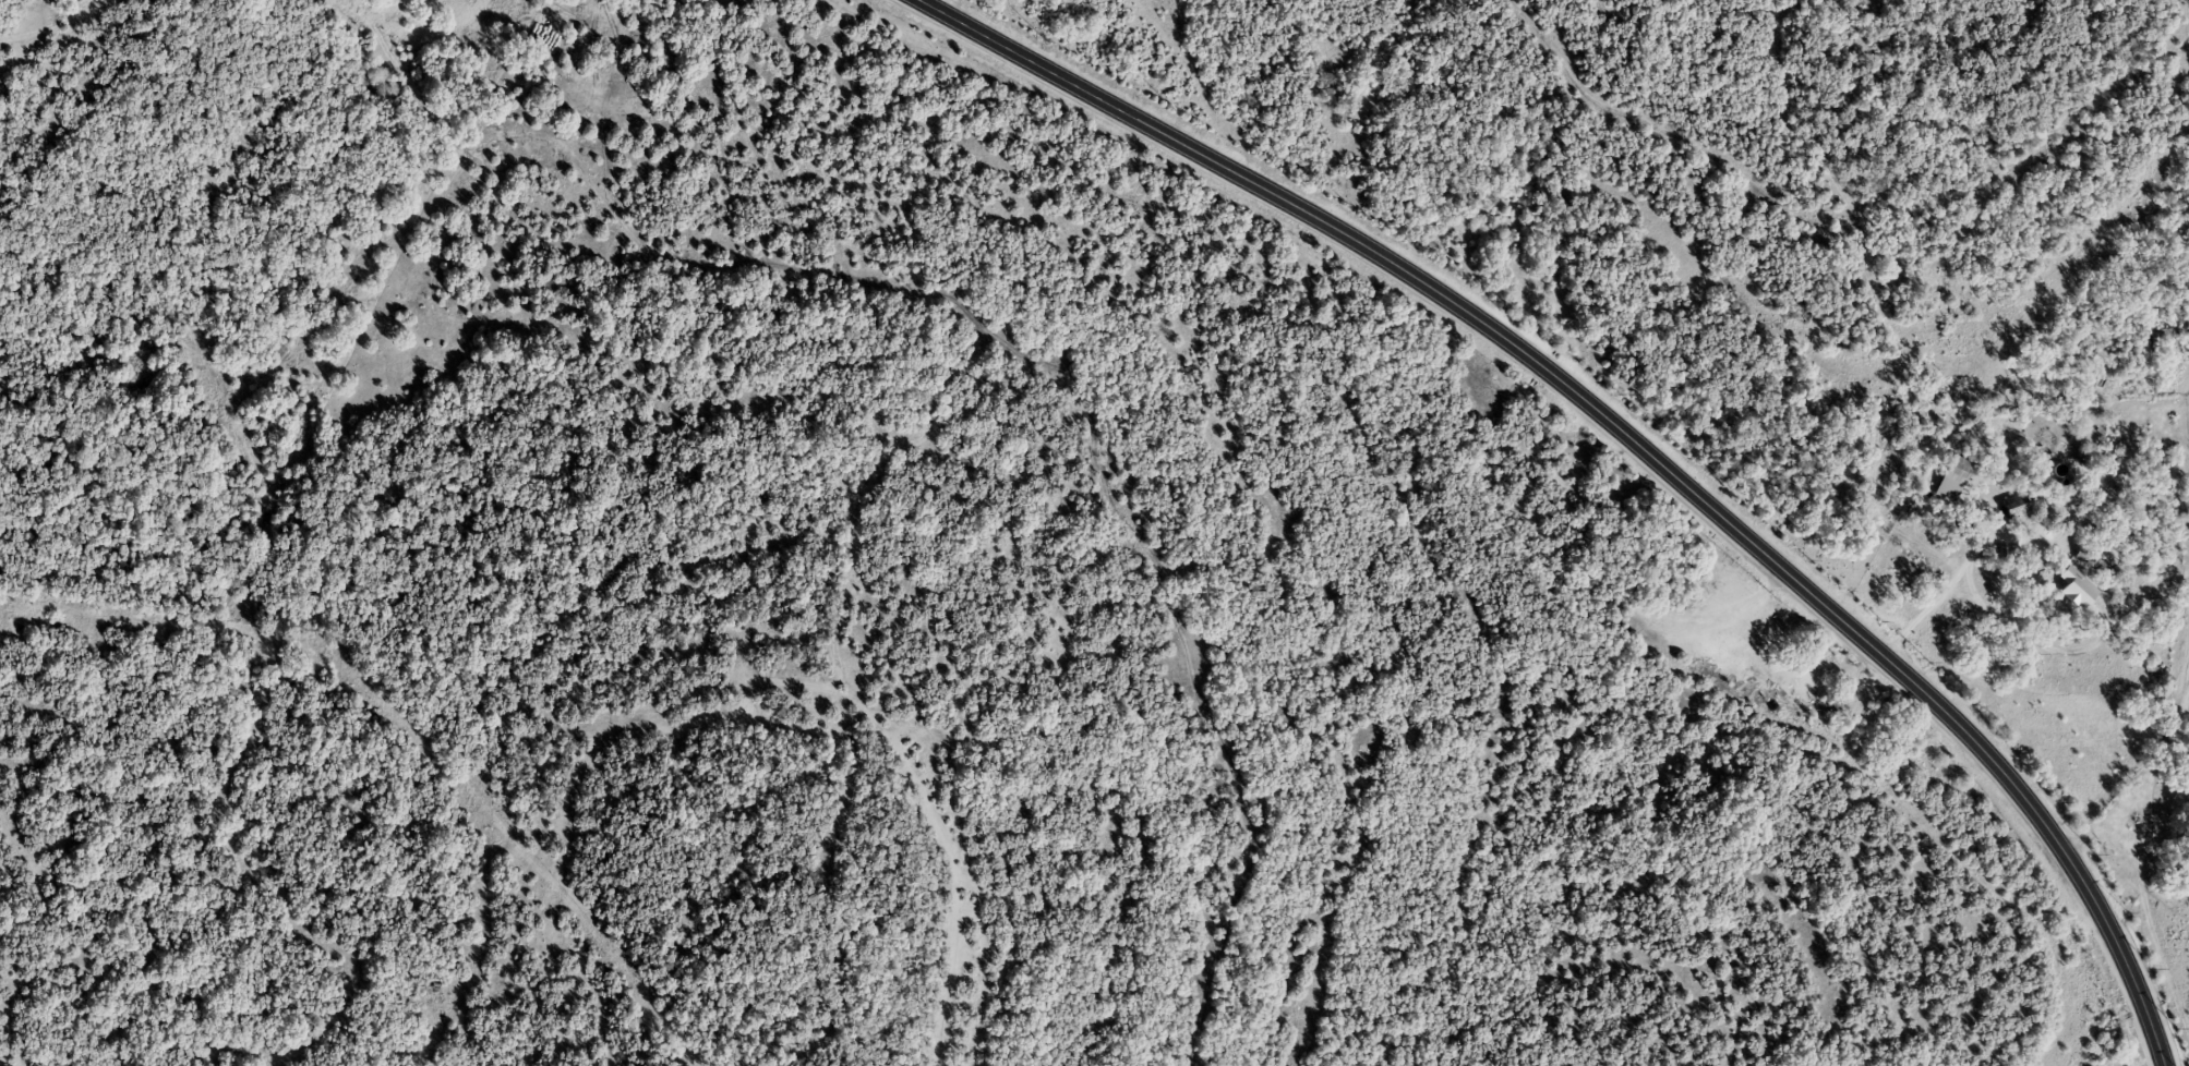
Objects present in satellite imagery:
road: (1631, 439)
building: (1951, 477)
building: (2013, 505)
building: (2076, 587)
road: (1936, 596)
road: (1562, 791)

